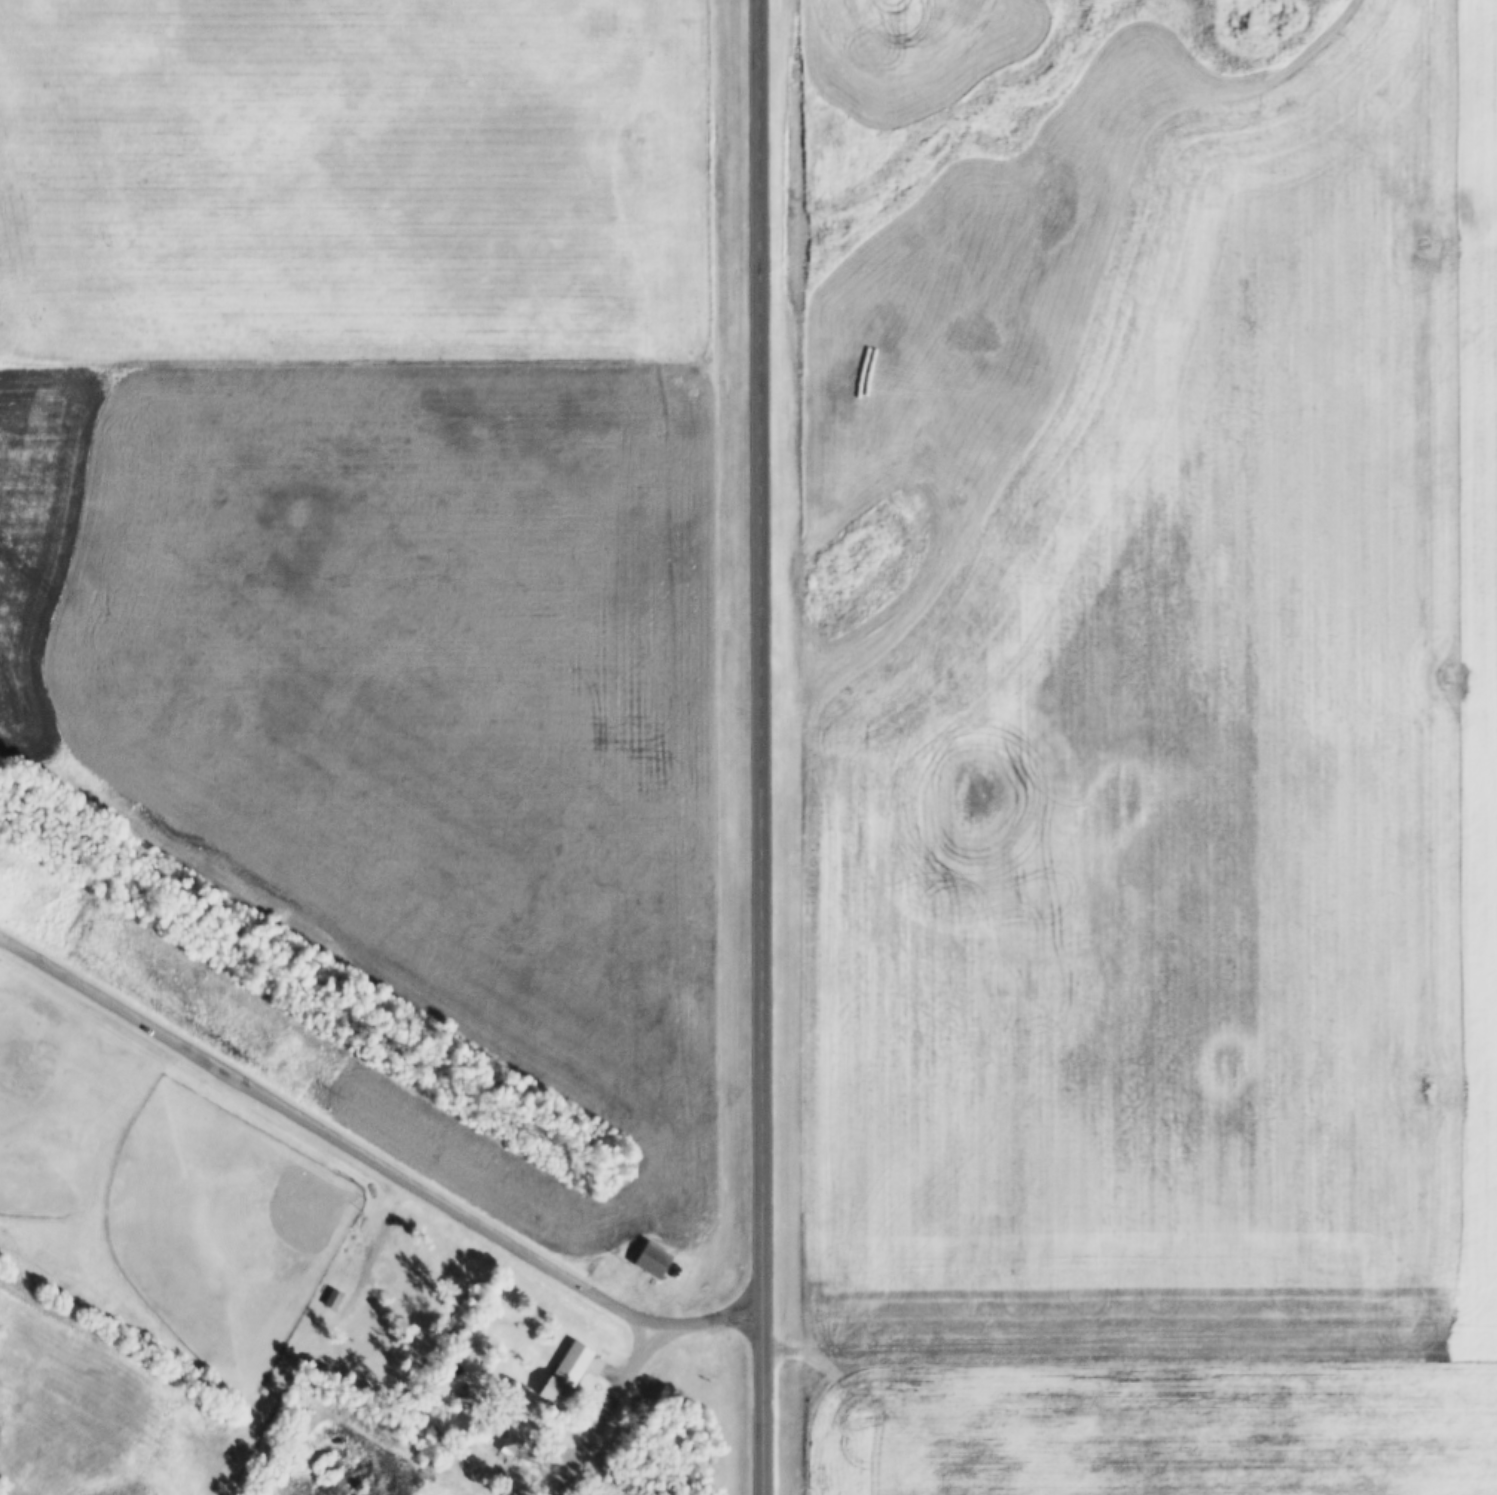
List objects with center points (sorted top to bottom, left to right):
road: (756, 747)
road: (373, 1157)
park: (225, 1224)
road: (371, 1253)
building: (651, 1255)
building: (333, 1295)
building: (562, 1371)
building: (469, 1396)
road: (601, 1410)
building: (514, 1439)

